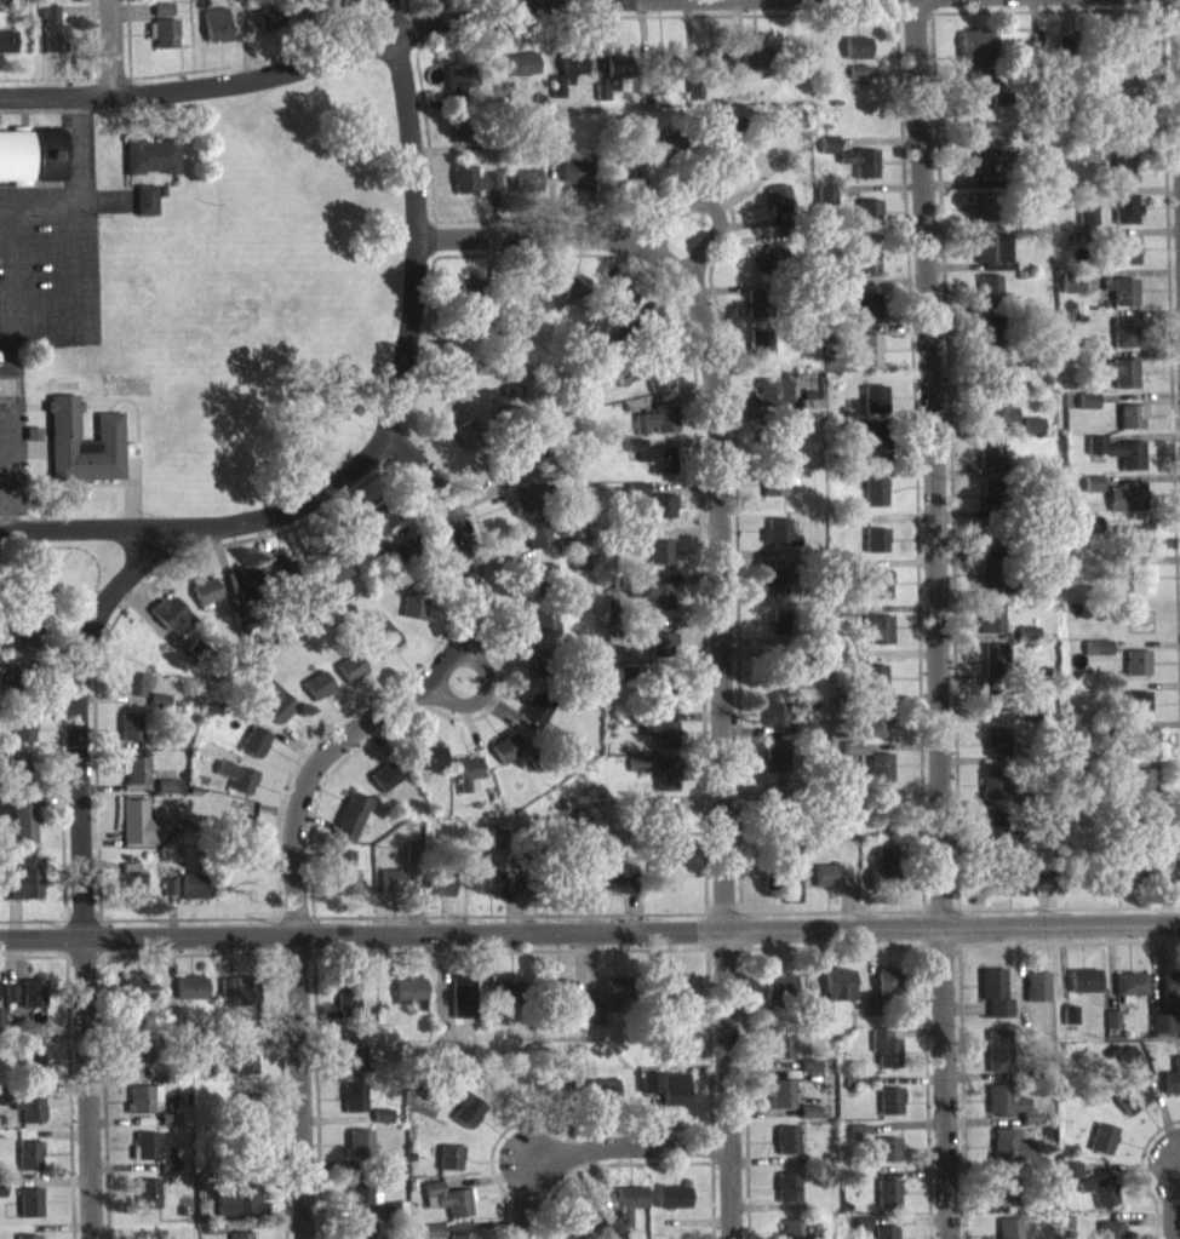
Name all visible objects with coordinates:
building: (51, 2)
building: (164, 2)
road: (510, 5)
building: (4, 6)
building: (340, 6)
building: (161, 19)
building: (268, 29)
road: (244, 38)
building: (52, 40)
building: (216, 40)
building: (162, 44)
road: (107, 47)
building: (6, 51)
road: (1178, 53)
building: (1061, 56)
building: (975, 57)
building: (857, 58)
road: (296, 64)
building: (709, 71)
building: (752, 73)
building: (573, 74)
building: (517, 75)
building: (617, 78)
building: (858, 82)
building: (657, 84)
building: (454, 87)
building: (978, 92)
building: (1125, 96)
building: (556, 98)
building: (605, 101)
building: (458, 138)
building: (1128, 139)
building: (978, 140)
building: (664, 154)
building: (829, 155)
building: (30, 166)
building: (151, 166)
building: (860, 172)
building: (978, 174)
building: (1124, 178)
building: (621, 182)
building: (577, 184)
building: (472, 190)
building: (526, 190)
road: (711, 208)
building: (145, 211)
building: (779, 211)
road: (417, 218)
building: (979, 218)
building: (1124, 219)
building: (866, 223)
building: (1086, 226)
building: (993, 260)
building: (1127, 260)
building: (865, 269)
building: (769, 271)
building: (1071, 293)
building: (572, 297)
building: (987, 299)
building: (466, 302)
building: (1121, 302)
building: (618, 306)
building: (758, 312)
building: (861, 315)
building: (990, 340)
building: (1123, 343)
building: (763, 352)
building: (865, 358)
building: (1122, 383)
building: (1004, 385)
building: (658, 389)
building: (454, 400)
building: (511, 402)
building: (771, 403)
building: (873, 411)
building: (1087, 411)
building: (808, 413)
building: (997, 423)
building: (1130, 428)
building: (655, 431)
building: (1031, 435)
building: (465, 443)
building: (789, 449)
building: (82, 454)
building: (877, 455)
building: (1117, 461)
building: (989, 464)
building: (653, 466)
building: (500, 481)
building: (771, 494)
building: (1092, 494)
building: (635, 499)
building: (873, 501)
building: (990, 505)
building: (523, 507)
building: (1125, 507)
building: (663, 516)
building: (378, 526)
road: (90, 530)
building: (1090, 535)
building: (777, 543)
building: (535, 545)
building: (1134, 550)
building: (873, 551)
building: (986, 551)
building: (376, 561)
building: (401, 562)
building: (578, 572)
building: (276, 575)
building: (333, 578)
building: (542, 584)
building: (987, 586)
building: (1139, 589)
building: (773, 591)
building: (241, 593)
building: (877, 595)
building: (204, 602)
building: (659, 606)
building: (413, 614)
road: (710, 616)
road: (933, 619)
building: (171, 625)
building: (990, 627)
building: (543, 630)
building: (778, 633)
building: (876, 639)
building: (21, 646)
building: (380, 646)
building: (660, 655)
building: (1096, 658)
building: (539, 672)
building: (995, 672)
building: (1135, 673)
building: (350, 678)
building: (11, 684)
building: (871, 688)
building: (136, 694)
building: (317, 696)
building: (663, 705)
building: (274, 712)
building: (992, 712)
building: (1138, 715)
building: (537, 717)
building: (1027, 723)
building: (774, 724)
building: (873, 733)
building: (130, 738)
building: (21, 740)
building: (659, 744)
road: (76, 748)
building: (254, 752)
building: (995, 752)
building: (1139, 752)
building: (505, 758)
building: (429, 769)
building: (775, 770)
building: (870, 773)
building: (17, 780)
building: (136, 781)
road: (303, 781)
building: (466, 784)
building: (237, 787)
building: (384, 787)
building: (666, 788)
building: (993, 793)
building: (1136, 793)
building: (166, 797)
building: (351, 826)
building: (137, 833)
building: (23, 834)
building: (669, 834)
building: (993, 837)
building: (497, 849)
building: (344, 868)
building: (884, 876)
building: (825, 885)
building: (1145, 887)
building: (666, 888)
building: (614, 889)
building: (1023, 889)
building: (1112, 889)
building: (24, 890)
building: (393, 890)
building: (345, 893)
building: (488, 893)
building: (439, 895)
building: (170, 896)
building: (195, 896)
building: (578, 897)
road: (508, 912)
road: (722, 912)
road: (296, 914)
road: (188, 916)
road: (81, 917)
road: (703, 928)
road: (743, 928)
road: (589, 929)
road: (276, 933)
road: (314, 933)
road: (62, 934)
road: (101, 934)
road: (1069, 941)
road: (723, 943)
road: (832, 943)
road: (939, 943)
road: (508, 947)
road: (189, 951)
road: (294, 951)
road: (81, 952)
building: (1084, 974)
building: (1129, 980)
building: (883, 981)
building: (668, 982)
building: (778, 982)
building: (837, 983)
building: (1036, 985)
building: (612, 987)
building: (511, 988)
building: (408, 990)
building: (556, 990)
building: (993, 991)
building: (1083, 991)
building: (1130, 994)
building: (348, 996)
building: (669, 996)
building: (190, 998)
building: (778, 998)
building: (137, 999)
building: (882, 999)
building: (236, 1002)
building: (1167, 1002)
building: (506, 1003)
building: (10, 1004)
building: (33, 1004)
building: (814, 1008)
building: (491, 1010)
building: (591, 1011)
building: (1069, 1011)
building: (572, 1015)
building: (592, 1026)
building: (1069, 1026)
building: (132, 1027)
building: (574, 1028)
building: (1111, 1029)
road: (706, 1033)
building: (778, 1040)
building: (671, 1042)
building: (884, 1045)
building: (351, 1048)
building: (996, 1049)
building: (574, 1052)
building: (1127, 1054)
building: (138, 1060)
building: (574, 1066)
building: (1128, 1067)
building: (244, 1071)
building: (31, 1072)
building: (1172, 1074)
building: (808, 1075)
building: (853, 1077)
building: (419, 1079)
building: (647, 1079)
building: (552, 1082)
building: (674, 1086)
building: (601, 1088)
building: (1127, 1089)
building: (779, 1090)
road: (926, 1090)
road: (745, 1091)
road: (960, 1091)
building: (647, 1092)
road: (282, 1094)
road: (316, 1095)
building: (354, 1095)
building: (559, 1097)
building: (888, 1097)
building: (1002, 1099)
building: (602, 1101)
building: (464, 1106)
building: (779, 1106)
building: (142, 1108)
building: (808, 1108)
building: (1132, 1108)
building: (889, 1112)
building: (1008, 1114)
building: (246, 1117)
building: (29, 1119)
building: (466, 1119)
road: (545, 1123)
building: (808, 1123)
building: (382, 1125)
building: (168, 1129)
building: (858, 1129)
building: (1100, 1134)
building: (785, 1136)
building: (360, 1140)
road: (709, 1141)
building: (858, 1141)
building: (1009, 1143)
building: (886, 1146)
building: (1070, 1146)
road: (1176, 1146)
road: (591, 1148)
building: (1102, 1149)
building: (786, 1151)
building: (449, 1154)
building: (1009, 1157)
road: (637, 1160)
building: (886, 1160)
building: (155, 1161)
building: (28, 1165)
building: (449, 1168)
building: (1069, 1170)
building: (1070, 1181)
building: (360, 1183)
building: (787, 1183)
building: (1004, 1184)
building: (1099, 1187)
building: (886, 1189)
building: (671, 1192)
building: (448, 1193)
road: (1174, 1193)
building: (1004, 1198)
building: (1099, 1200)
building: (147, 1204)
building: (361, 1204)
building: (626, 1204)
building: (389, 1205)
building: (672, 1208)
building: (239, 1210)
building: (449, 1210)
building: (30, 1212)
building: (575, 1217)
building: (860, 1218)
building: (434, 1227)
building: (791, 1227)
building: (1009, 1227)
building: (1109, 1227)
building: (365, 1228)
building: (577, 1229)
building: (603, 1229)
building: (883, 1229)
building: (859, 1233)
building: (460, 1234)
building: (433, 1237)

